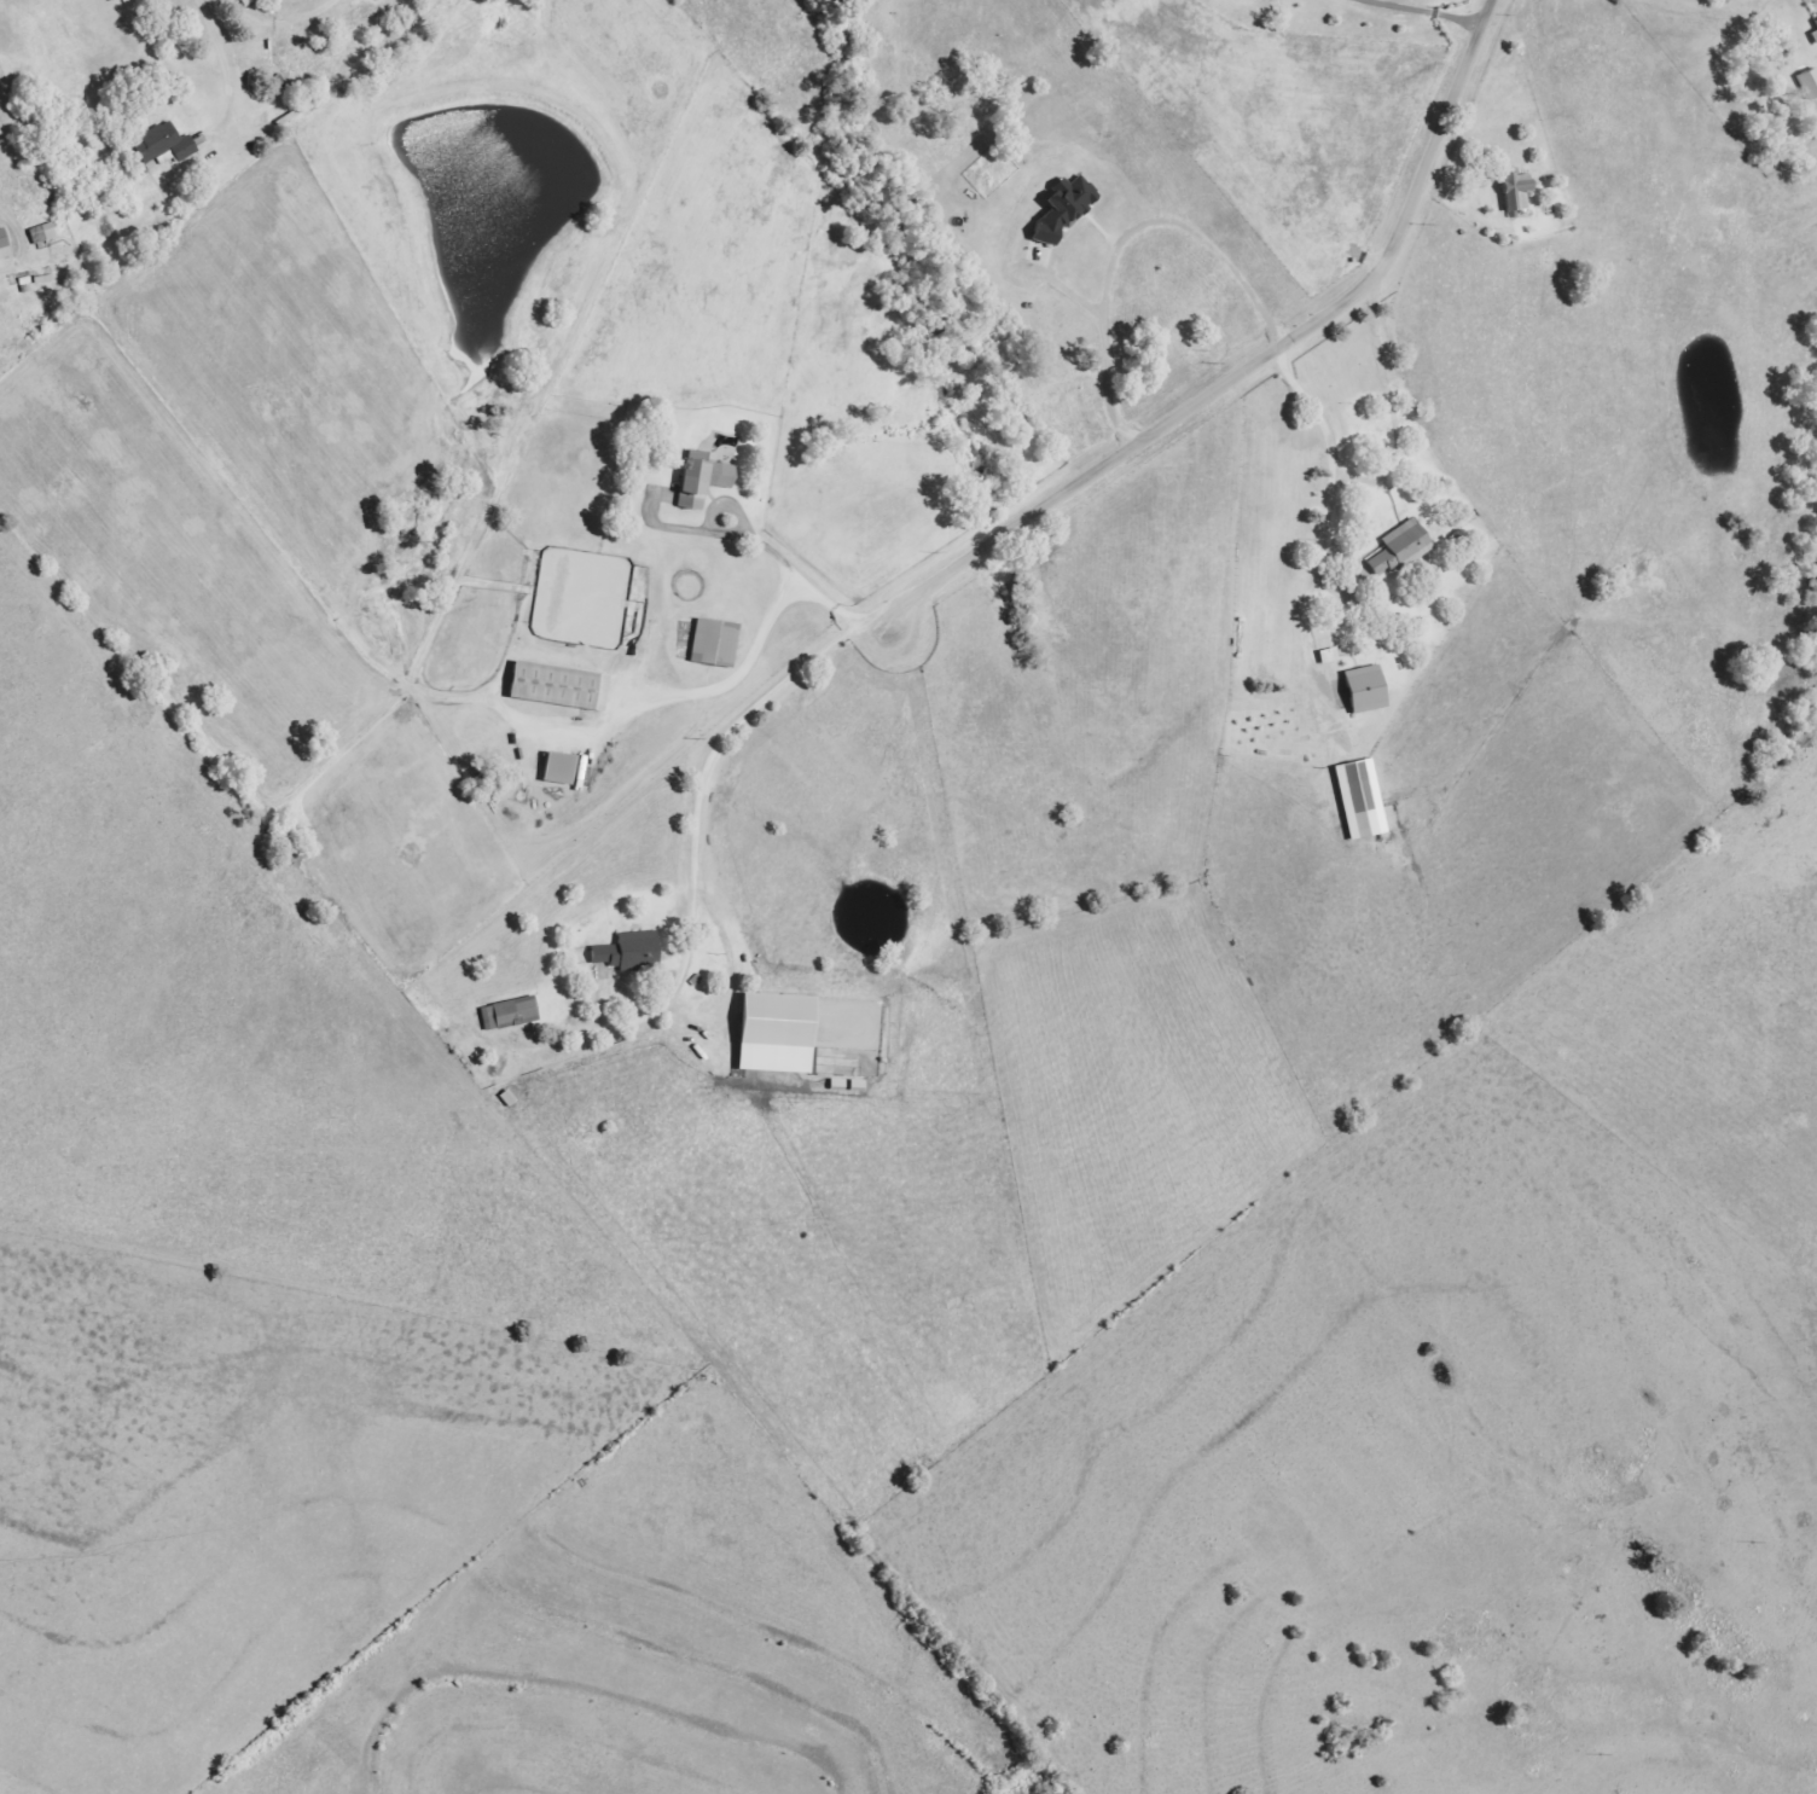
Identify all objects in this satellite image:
road: (1421, 13)
building: (1812, 31)
building: (1805, 83)
building: (167, 144)
building: (1511, 192)
building: (1057, 211)
building: (46, 234)
building: (6, 245)
road: (1337, 465)
building: (706, 481)
road: (736, 504)
road: (1032, 517)
building: (1395, 548)
road: (807, 581)
building: (718, 643)
building: (1331, 656)
building: (563, 686)
building: (1370, 689)
building: (563, 767)
building: (1364, 799)
building: (633, 952)
building: (513, 1012)

